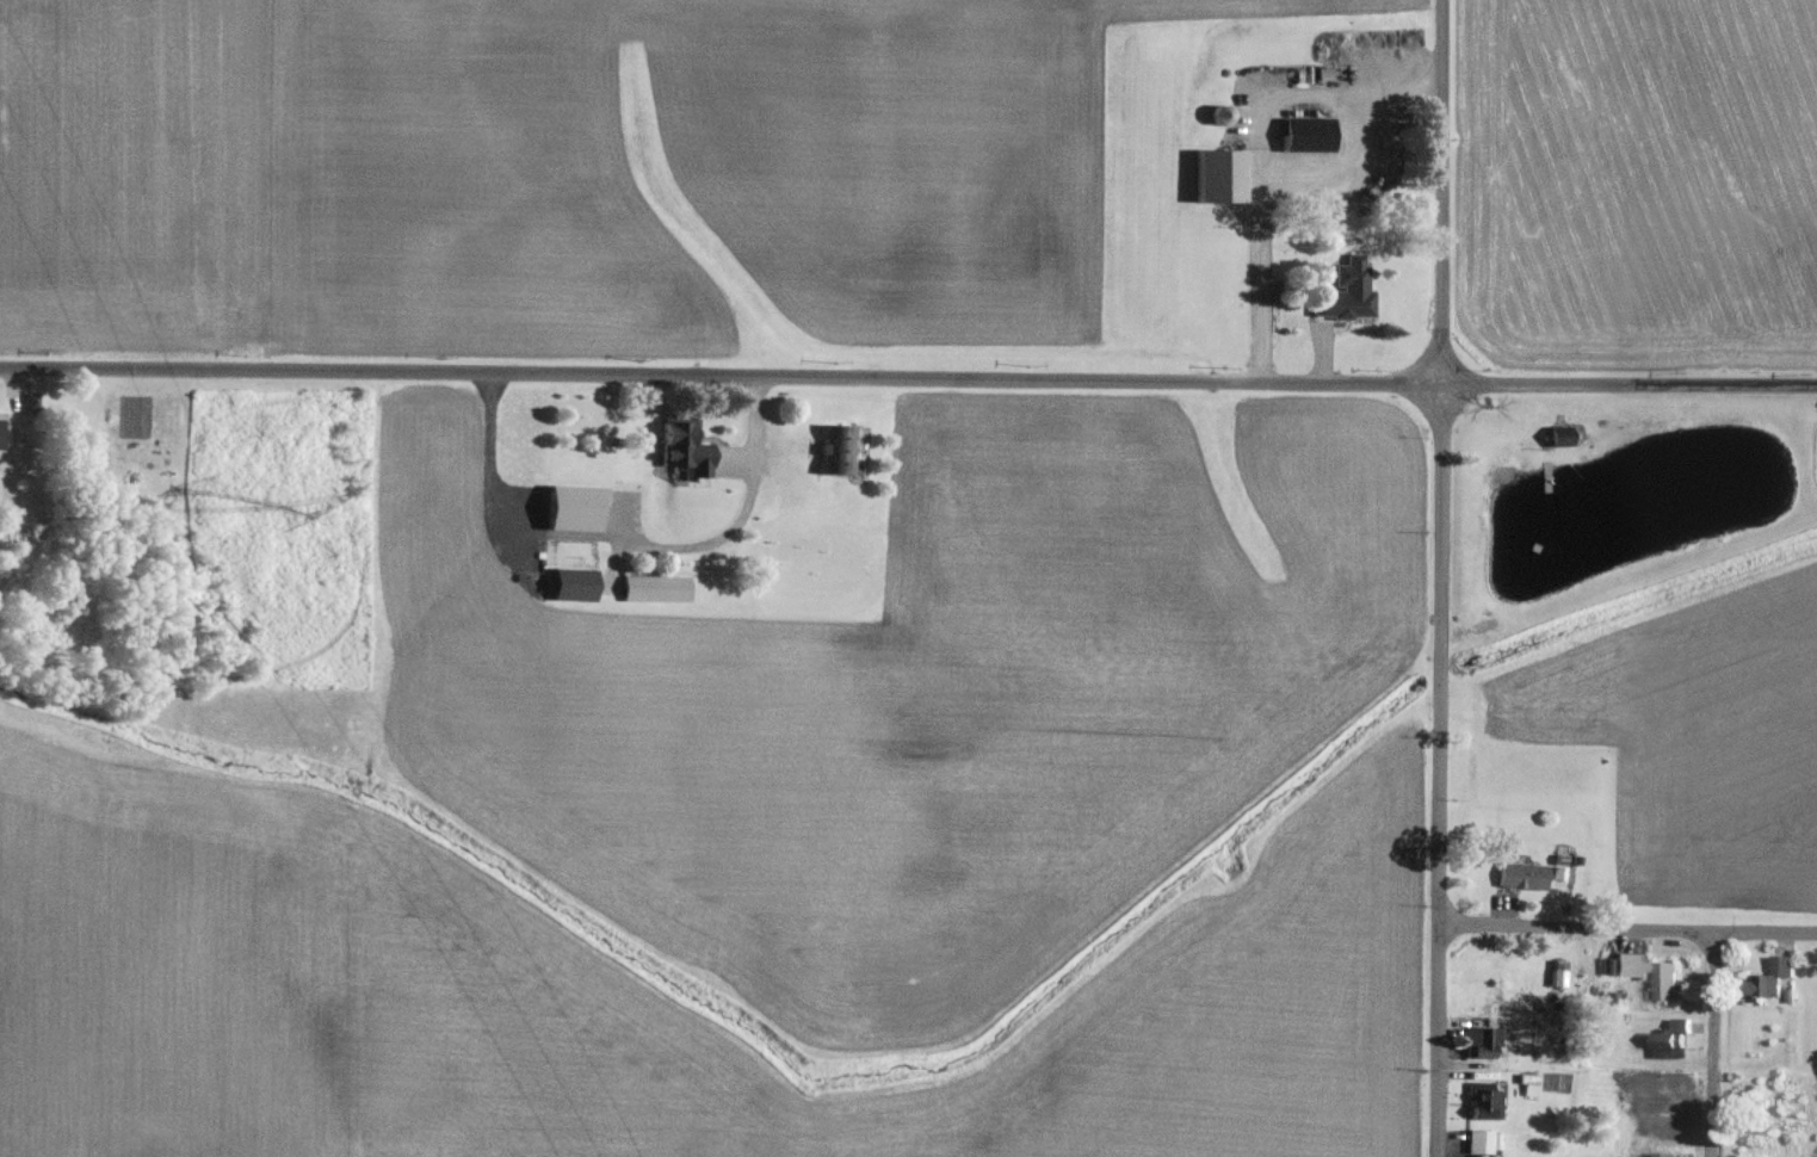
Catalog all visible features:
building: (1312, 135)
building: (1351, 290)
road: (908, 377)
building: (2, 428)
building: (847, 448)
building: (690, 450)
building: (580, 501)
power tower: (280, 506)
road: (743, 512)
road: (1438, 577)
building: (579, 584)
building: (660, 589)
building: (1526, 876)
road: (1628, 927)
building: (1774, 976)
building: (1665, 980)
building: (1671, 1039)
building: (1487, 1041)
road: (1711, 1042)
building: (1674, 1093)
building: (1489, 1100)
building: (1484, 1141)
building: (1670, 1155)

